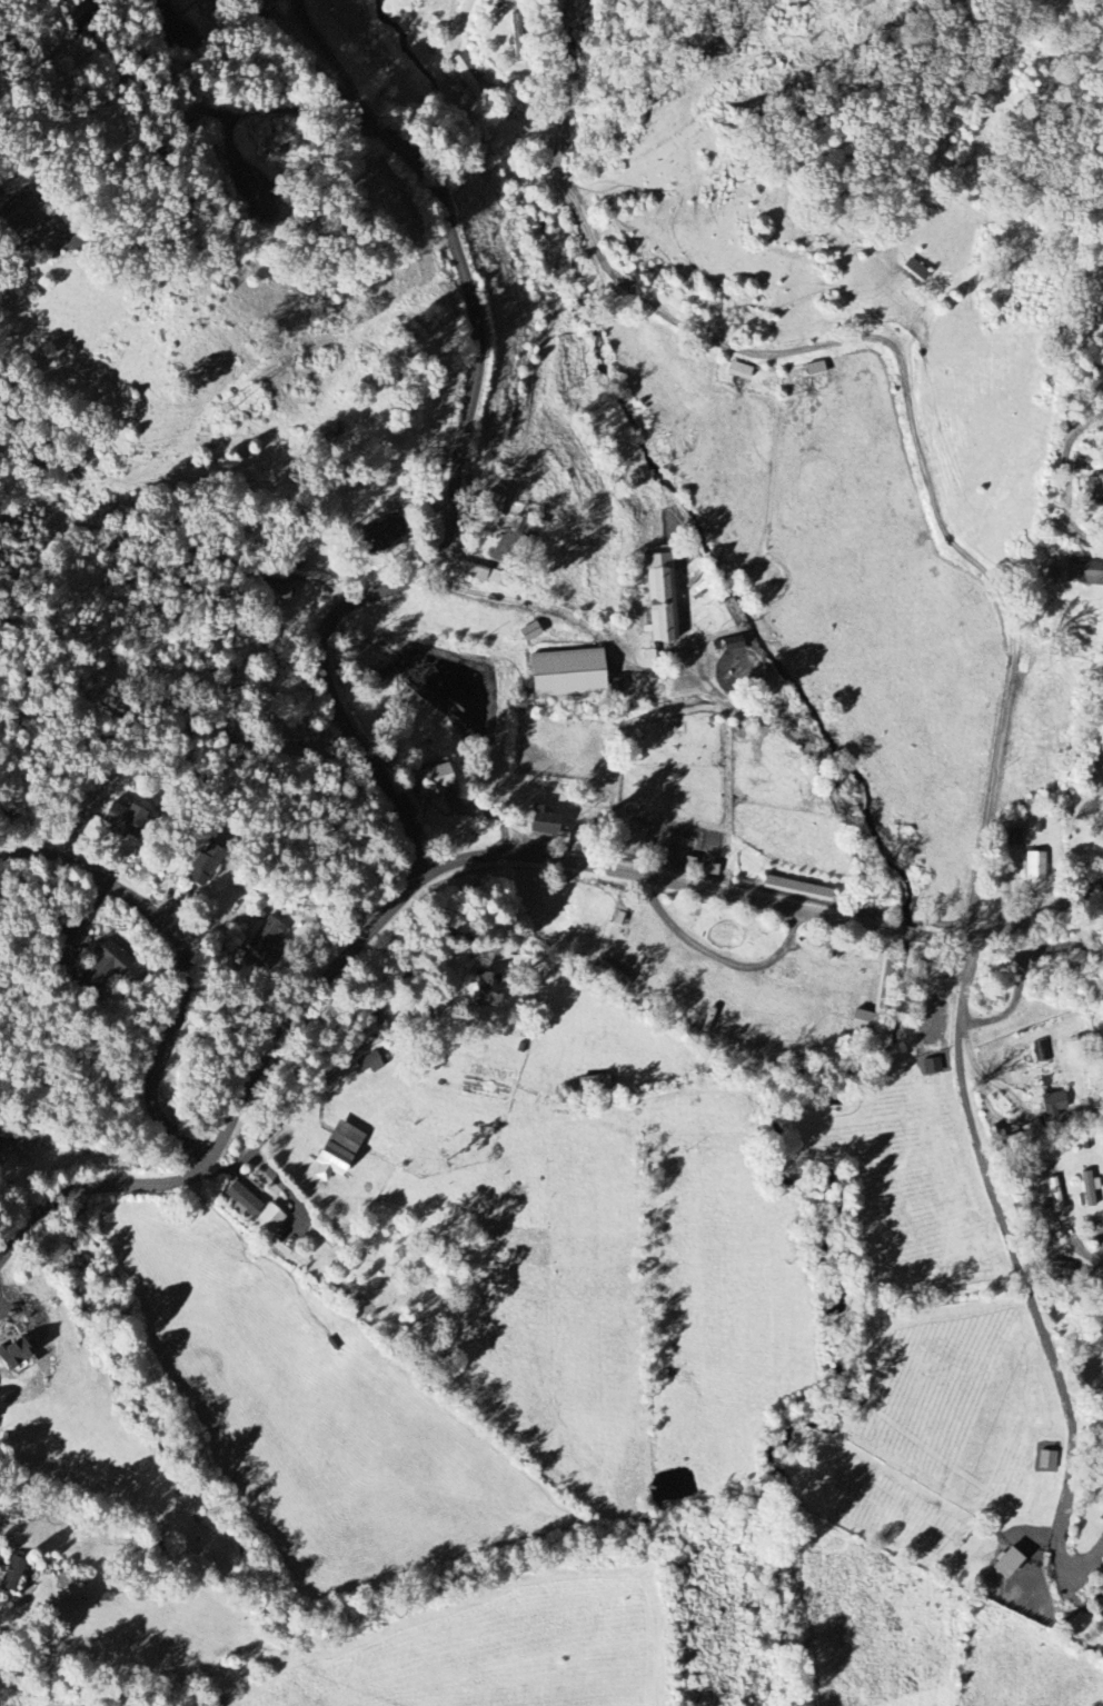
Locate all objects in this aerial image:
power tower: (853, 0)
building: (517, 39)
road: (328, 52)
building: (467, 73)
road: (167, 164)
building: (20, 211)
building: (915, 270)
road: (897, 359)
building: (815, 369)
building: (739, 370)
power tower: (230, 408)
road: (459, 442)
building: (1081, 467)
building: (1092, 491)
building: (489, 508)
building: (380, 533)
building: (499, 557)
building: (1084, 573)
building: (660, 592)
building: (529, 631)
building: (733, 644)
building: (567, 674)
road: (706, 681)
building: (614, 686)
building: (434, 781)
building: (123, 820)
building: (544, 821)
road: (470, 858)
building: (203, 868)
building: (1035, 868)
building: (797, 888)
road: (83, 924)
building: (265, 938)
road: (177, 962)
building: (102, 966)
building: (612, 975)
building: (488, 988)
building: (875, 999)
building: (1043, 1050)
building: (932, 1066)
building: (593, 1084)
road: (308, 1096)
building: (1053, 1105)
building: (1033, 1129)
building: (2, 1137)
building: (346, 1138)
building: (328, 1164)
road: (59, 1173)
building: (1087, 1189)
building: (240, 1199)
road: (1004, 1215)
building: (269, 1218)
building: (13, 1355)
building: (1047, 1460)
building: (1005, 1564)
building: (12, 1574)
building: (1101, 1594)

